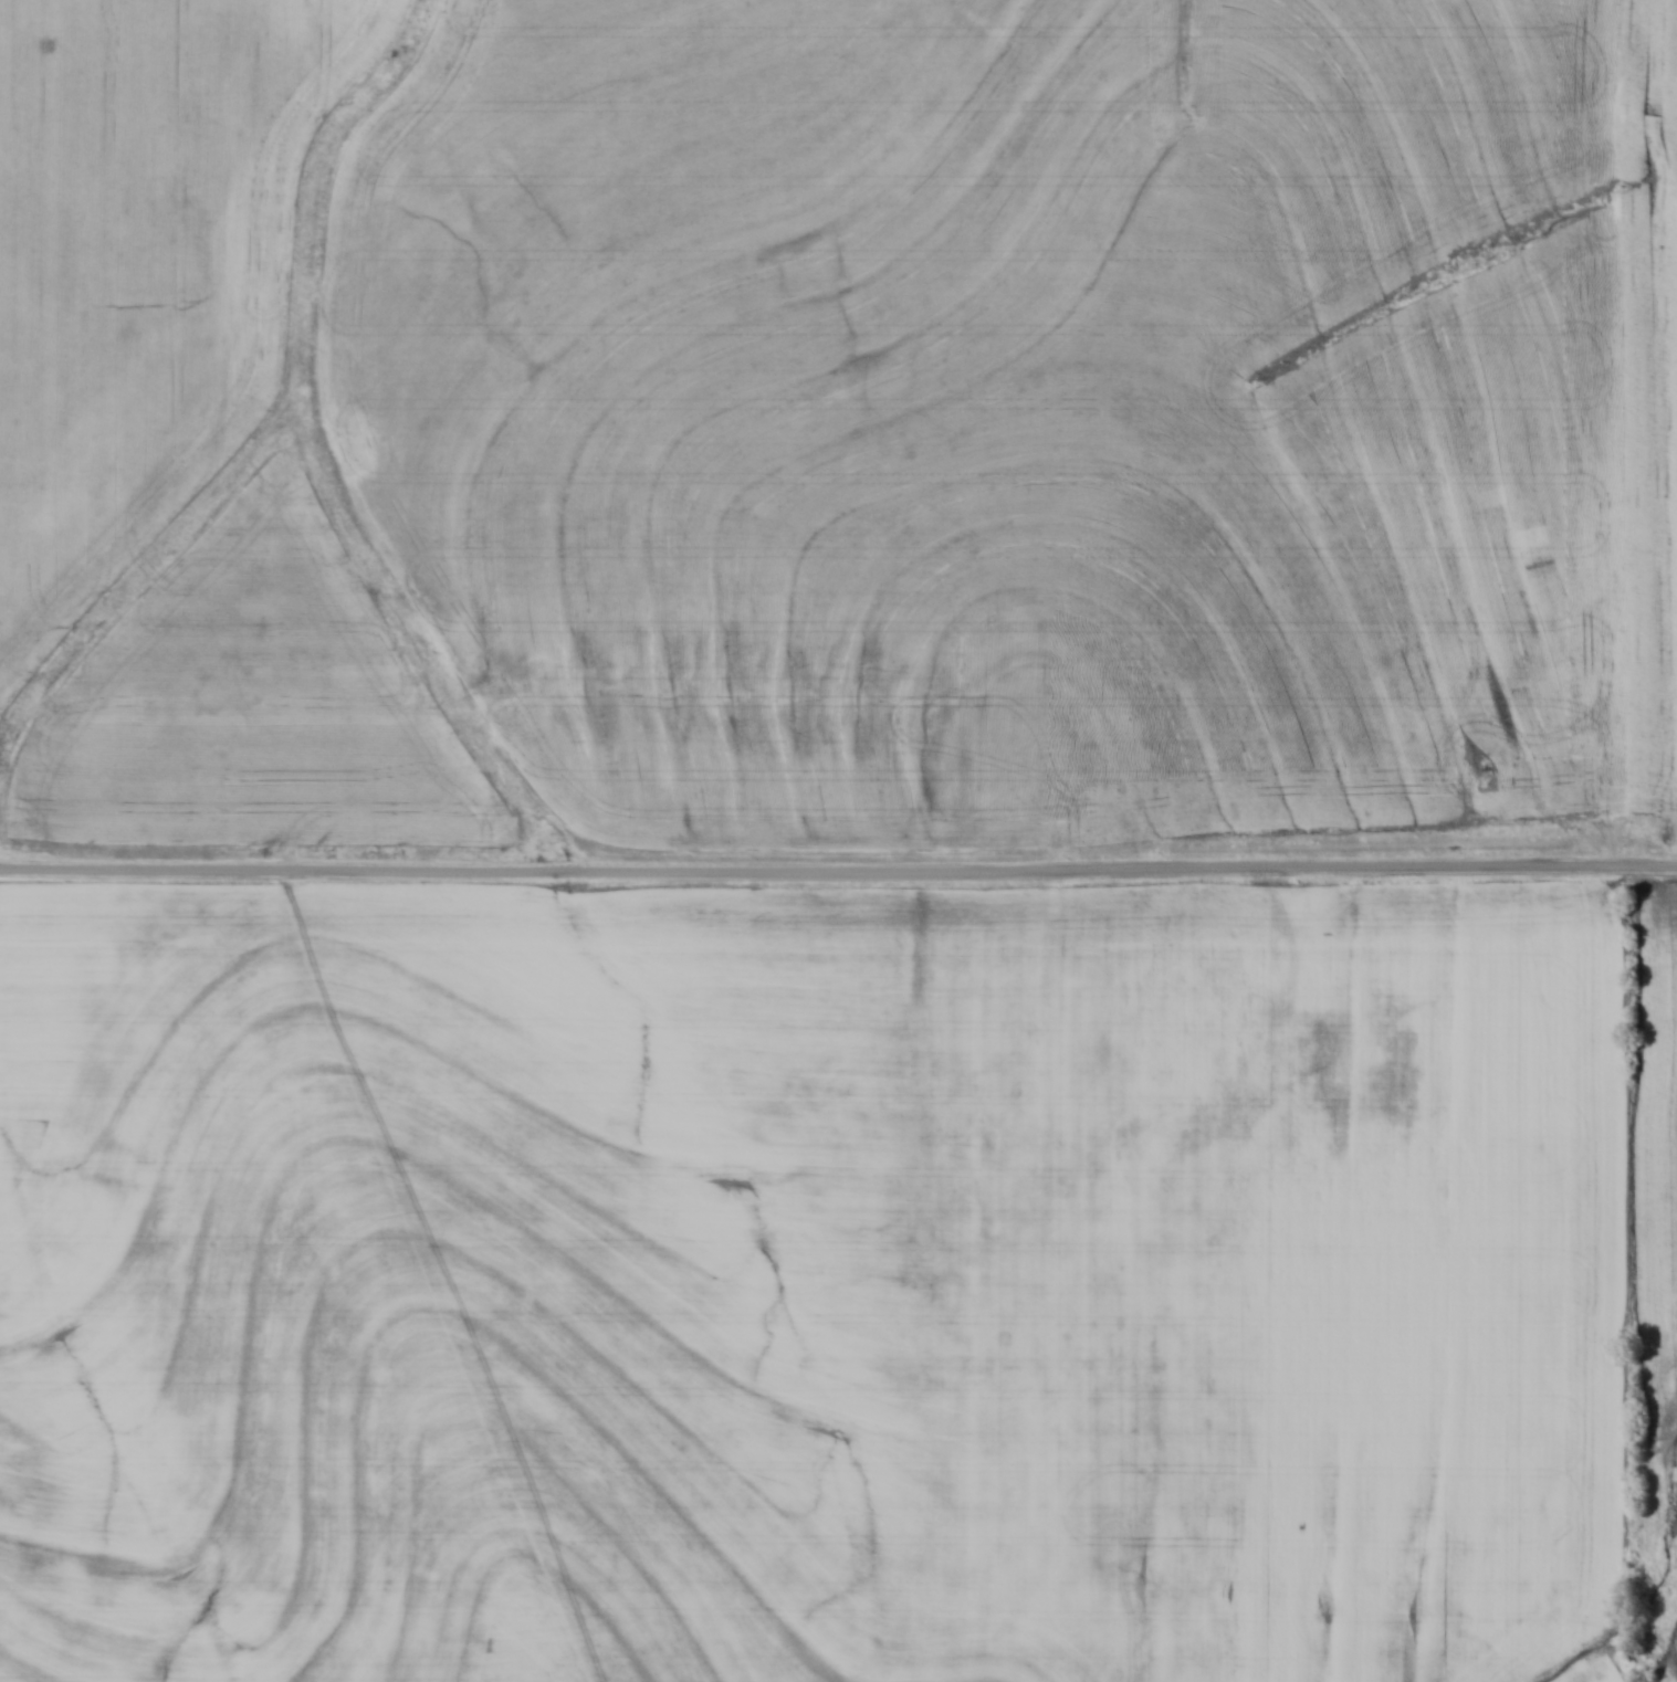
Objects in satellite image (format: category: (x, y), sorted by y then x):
road: (838, 876)
building: (1317, 937)

